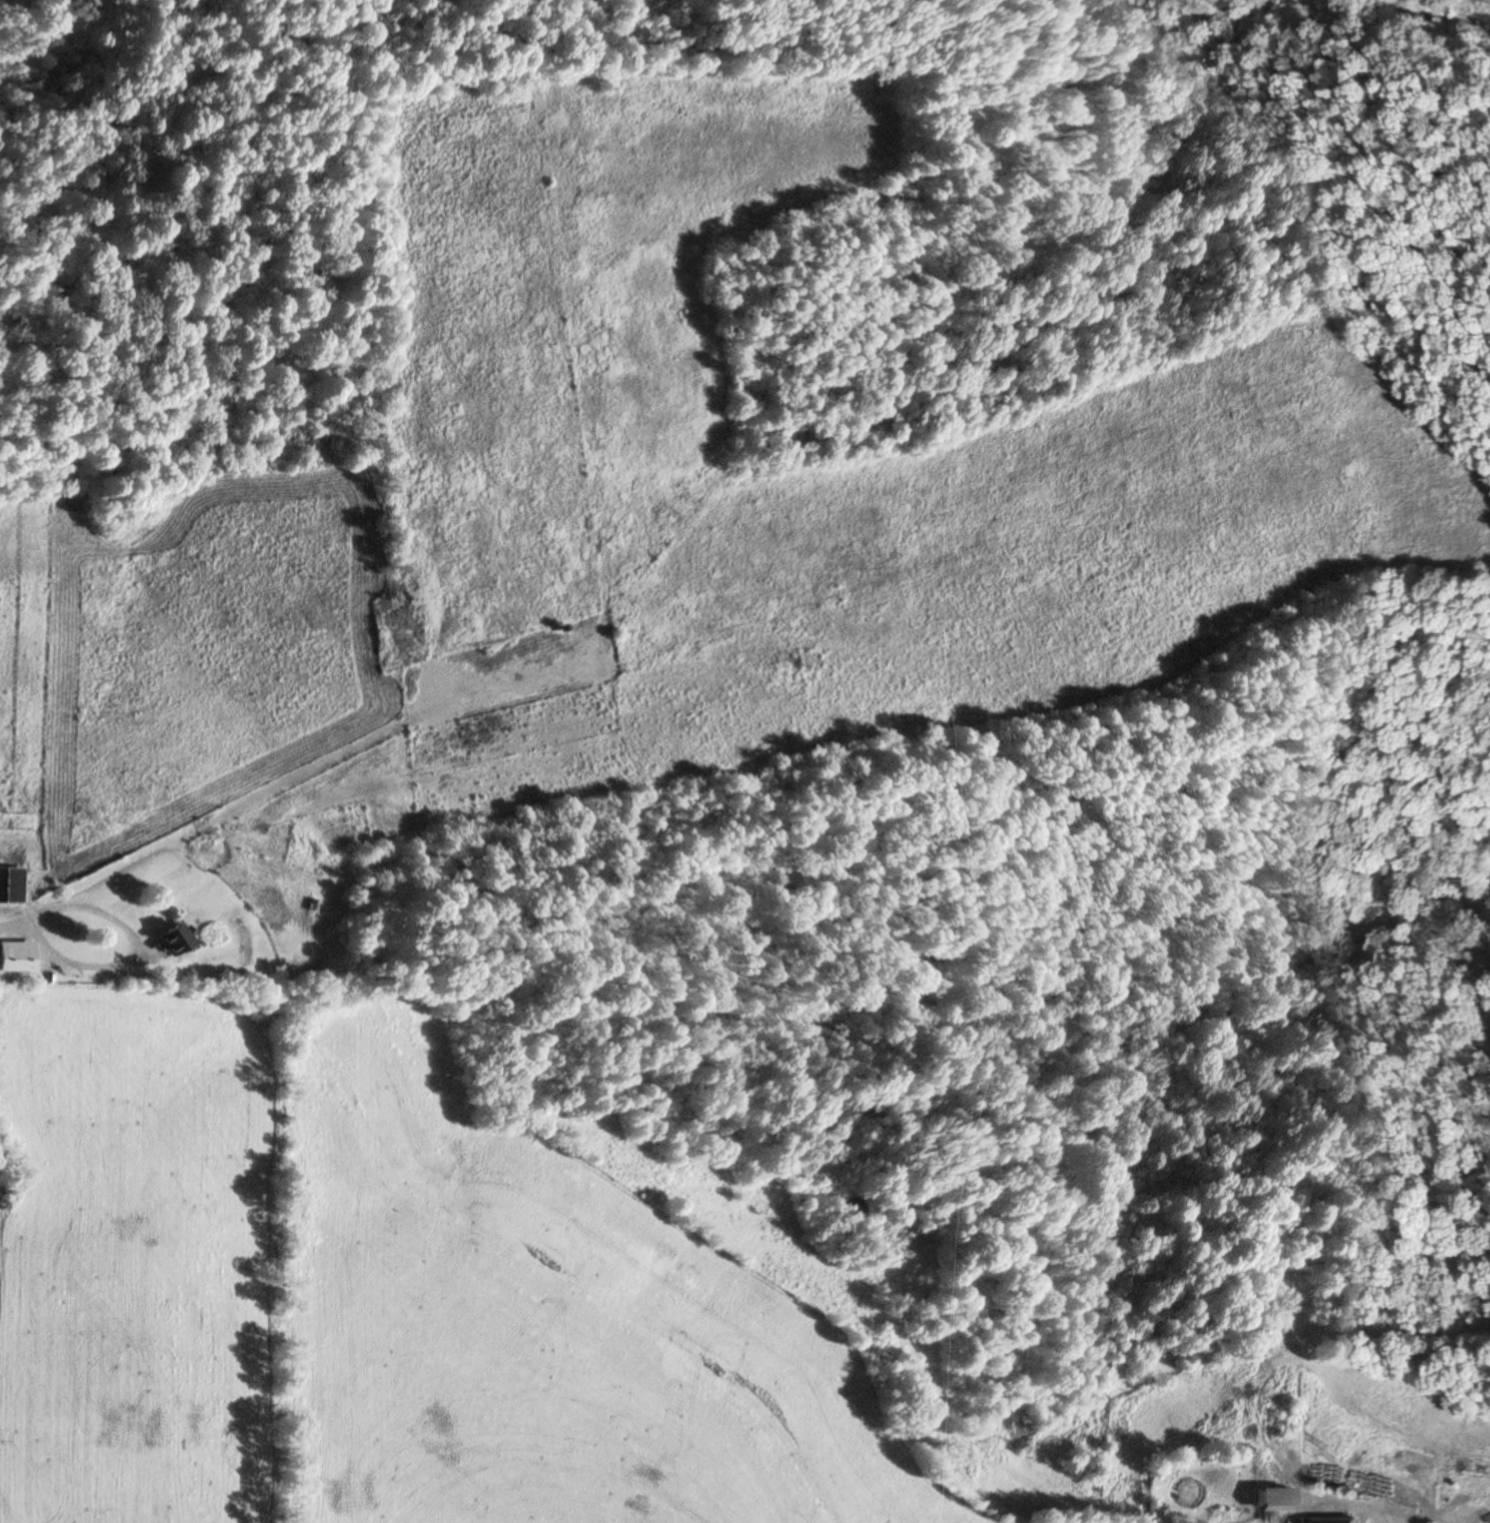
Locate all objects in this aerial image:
building: (9, 885)
road: (13, 922)
building: (167, 941)
building: (14, 957)
building: (1270, 1500)
building: (1326, 1520)

